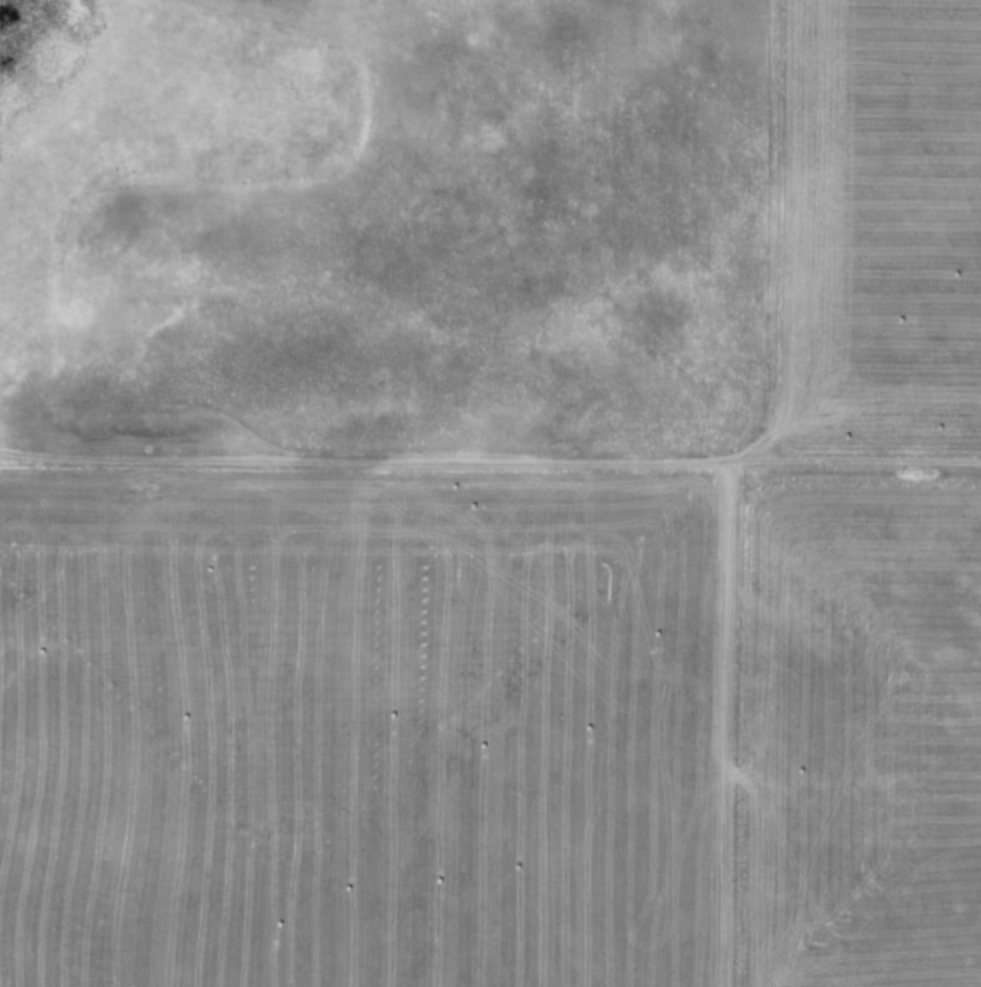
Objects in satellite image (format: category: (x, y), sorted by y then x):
road: (490, 461)
road: (736, 726)

